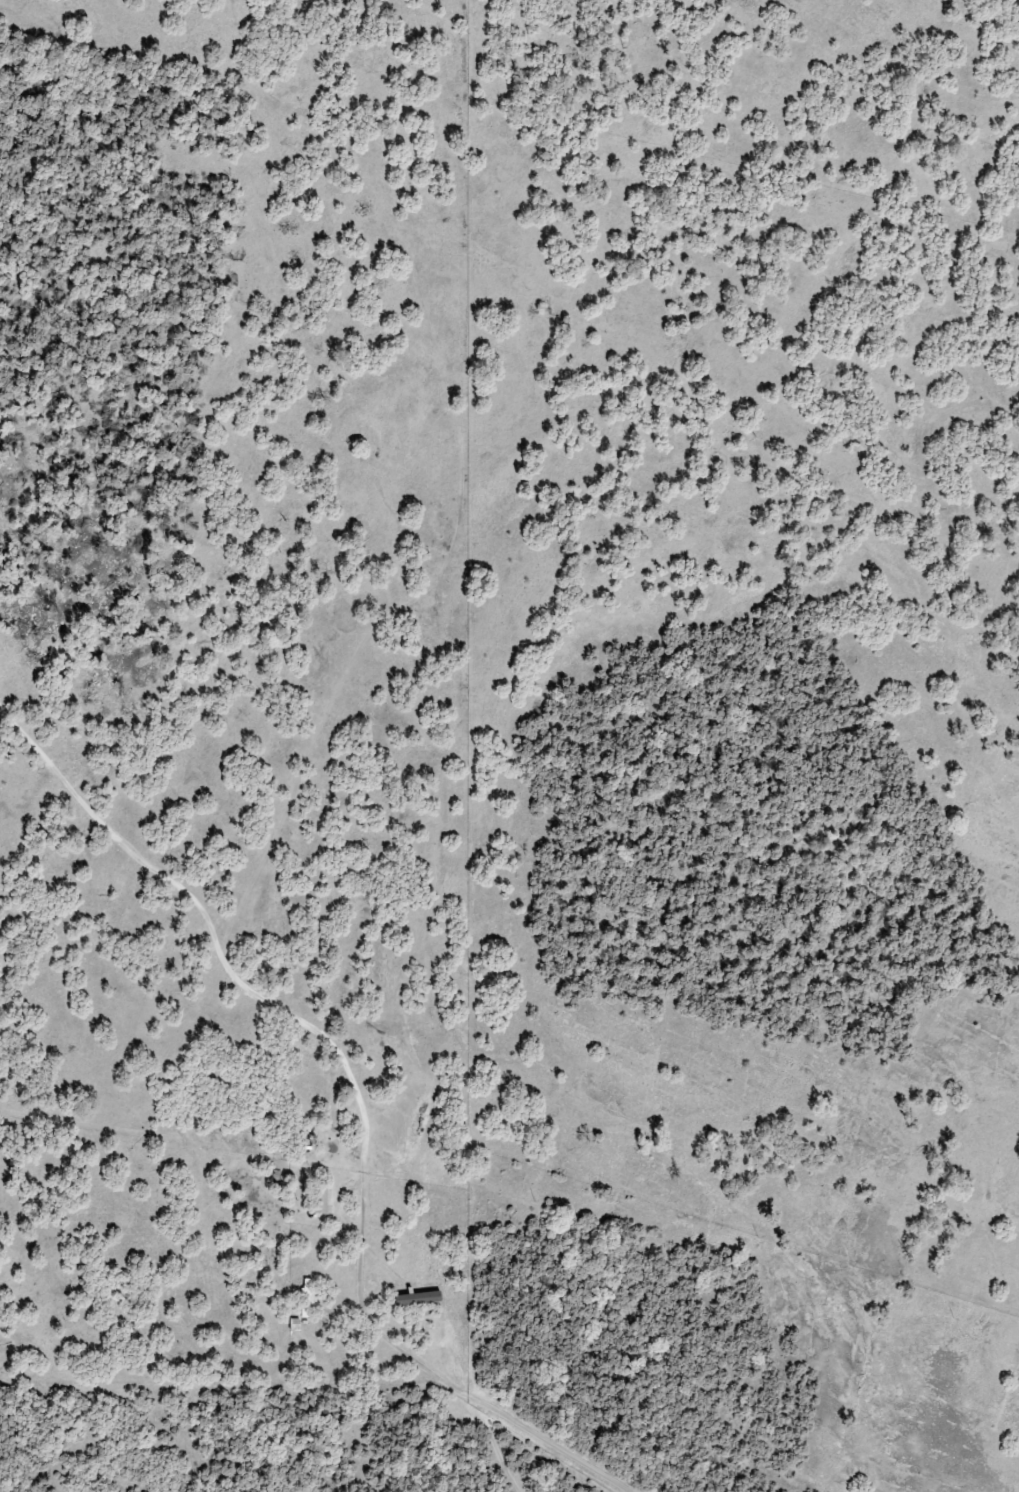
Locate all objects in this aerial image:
building: (320, 1201)
building: (418, 1299)
road: (442, 1372)

